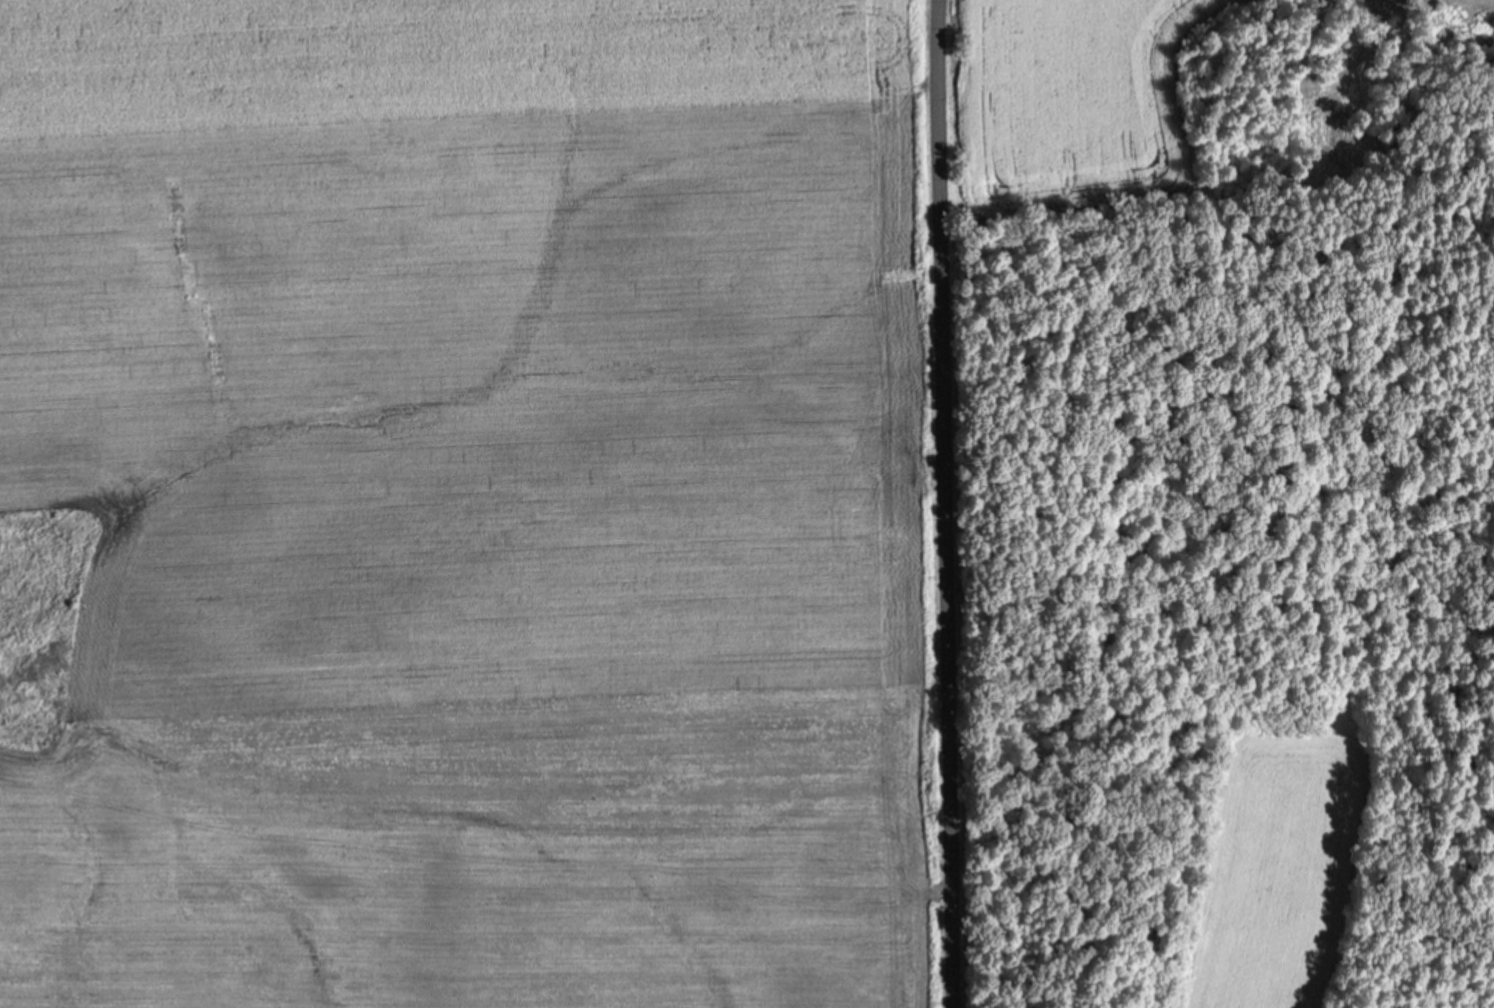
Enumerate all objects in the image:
road: (945, 503)

